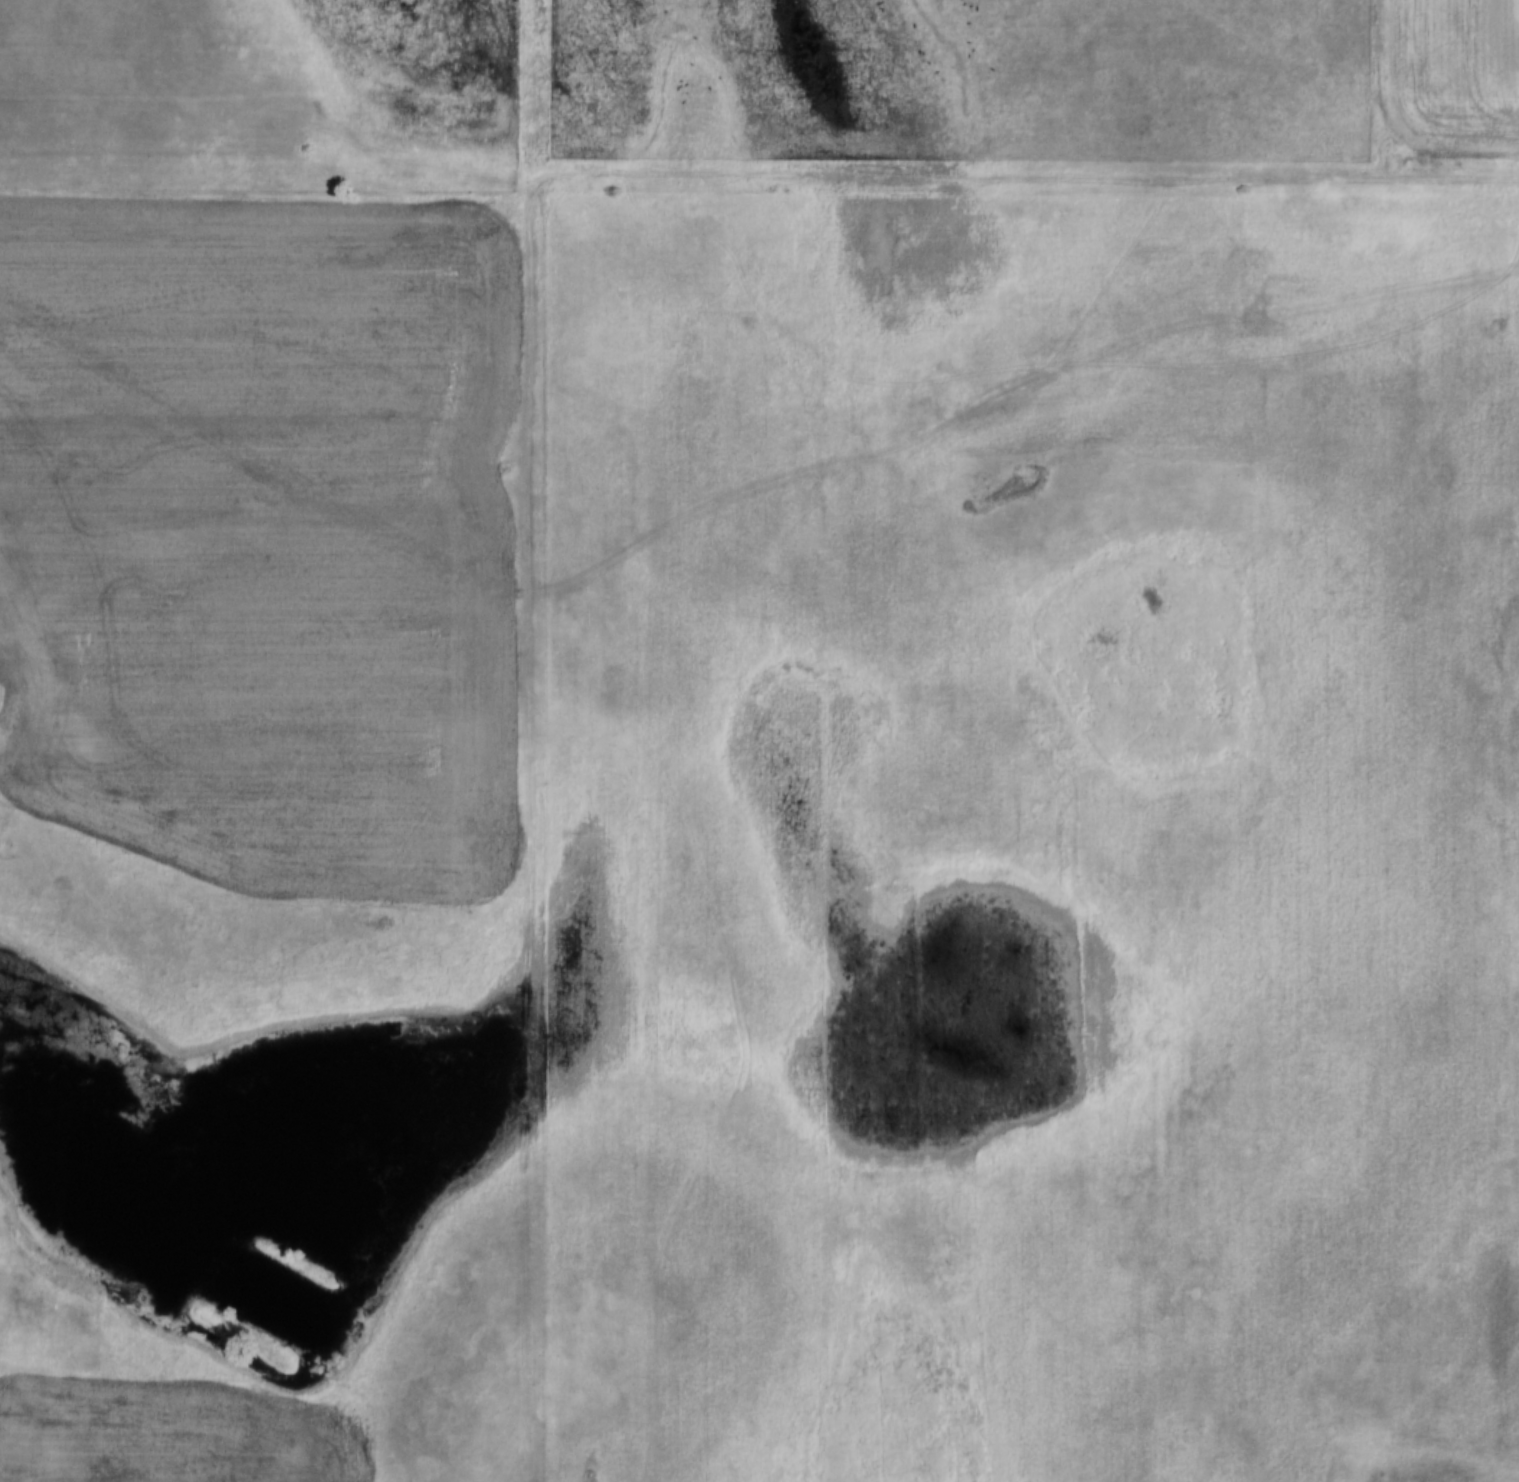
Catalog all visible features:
road: (537, 84)
road: (1027, 170)

